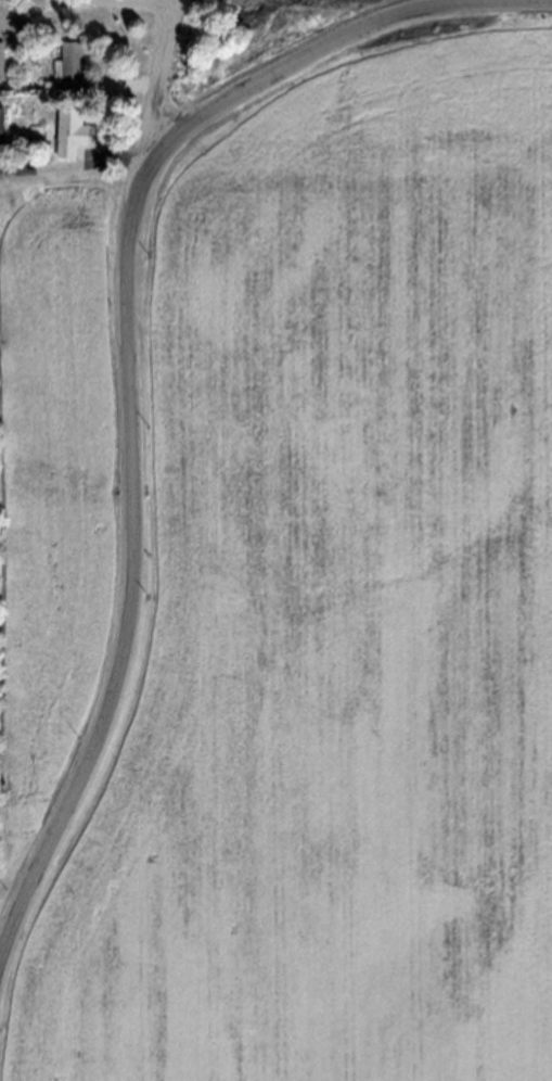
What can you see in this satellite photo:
road: (95, 2)
building: (2, 61)
building: (74, 65)
road: (159, 78)
road: (127, 79)
building: (2, 127)
building: (72, 127)
road: (75, 164)
road: (128, 349)

